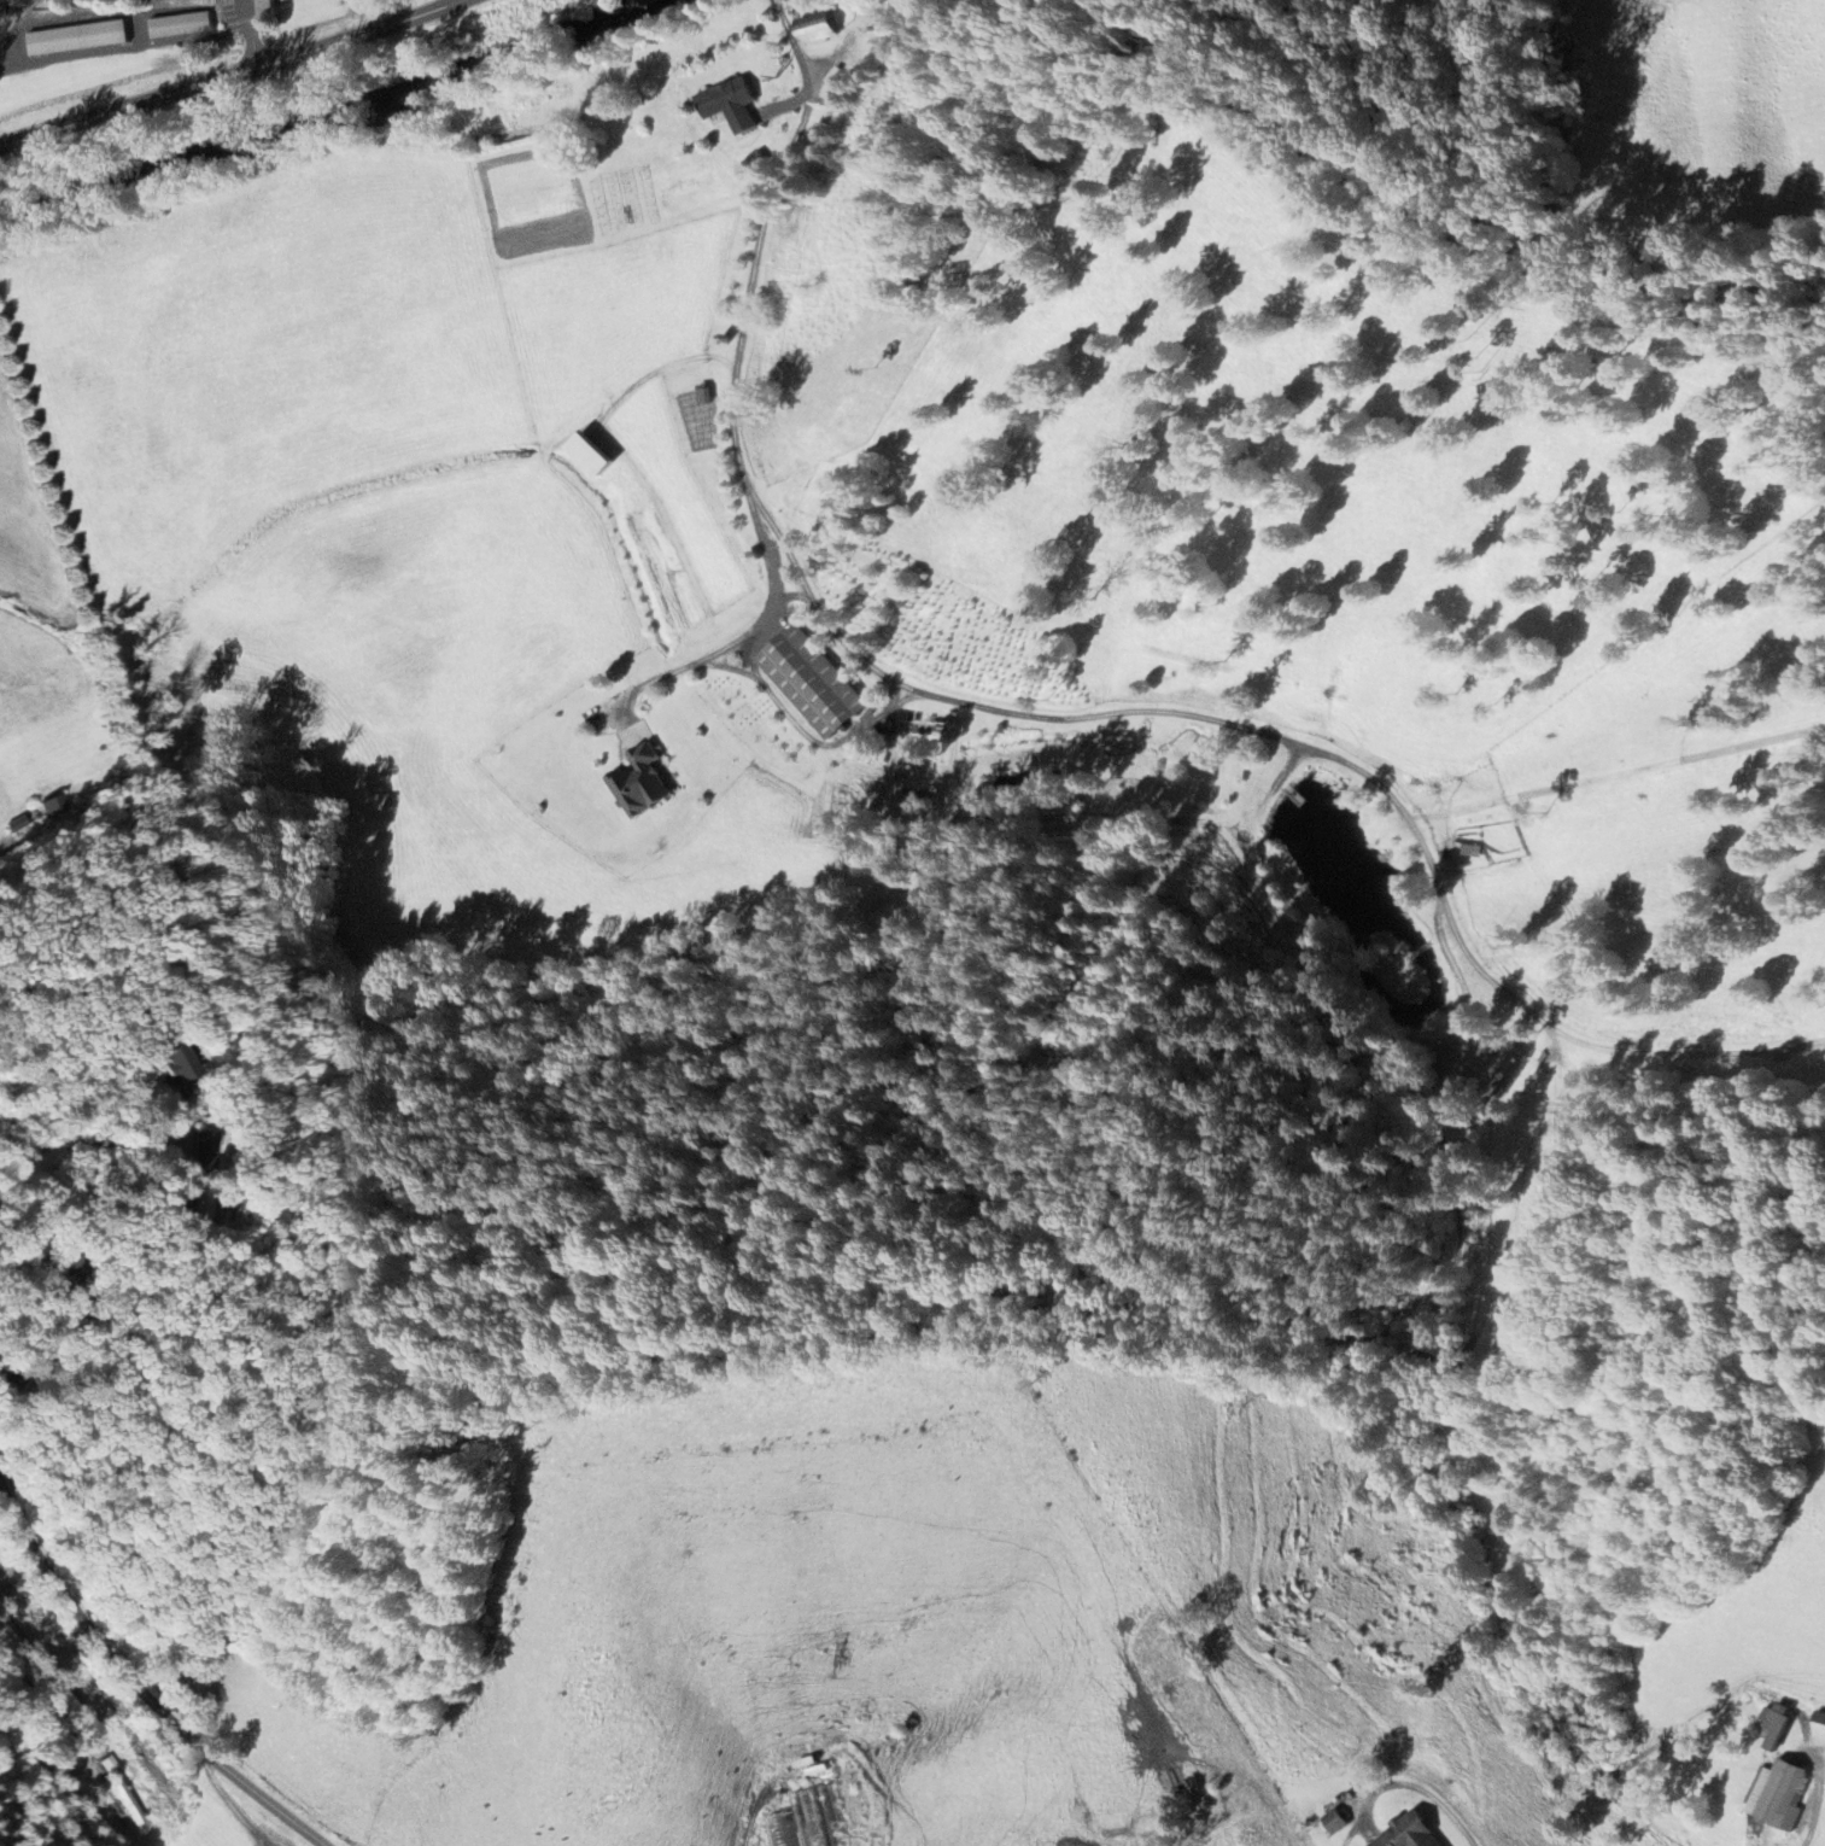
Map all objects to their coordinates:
road: (780, 4)
building: (268, 7)
building: (182, 25)
building: (819, 28)
building: (78, 37)
road: (232, 76)
building: (731, 104)
road: (744, 308)
building: (595, 454)
building: (814, 682)
building: (636, 736)
building: (643, 783)
road: (84, 1137)
road: (136, 1686)
road: (42, 1721)
building: (1779, 1724)
building: (1780, 1793)
road: (1817, 1805)
road: (749, 1818)
building: (807, 1821)
building: (1336, 1822)
building: (1411, 1833)

